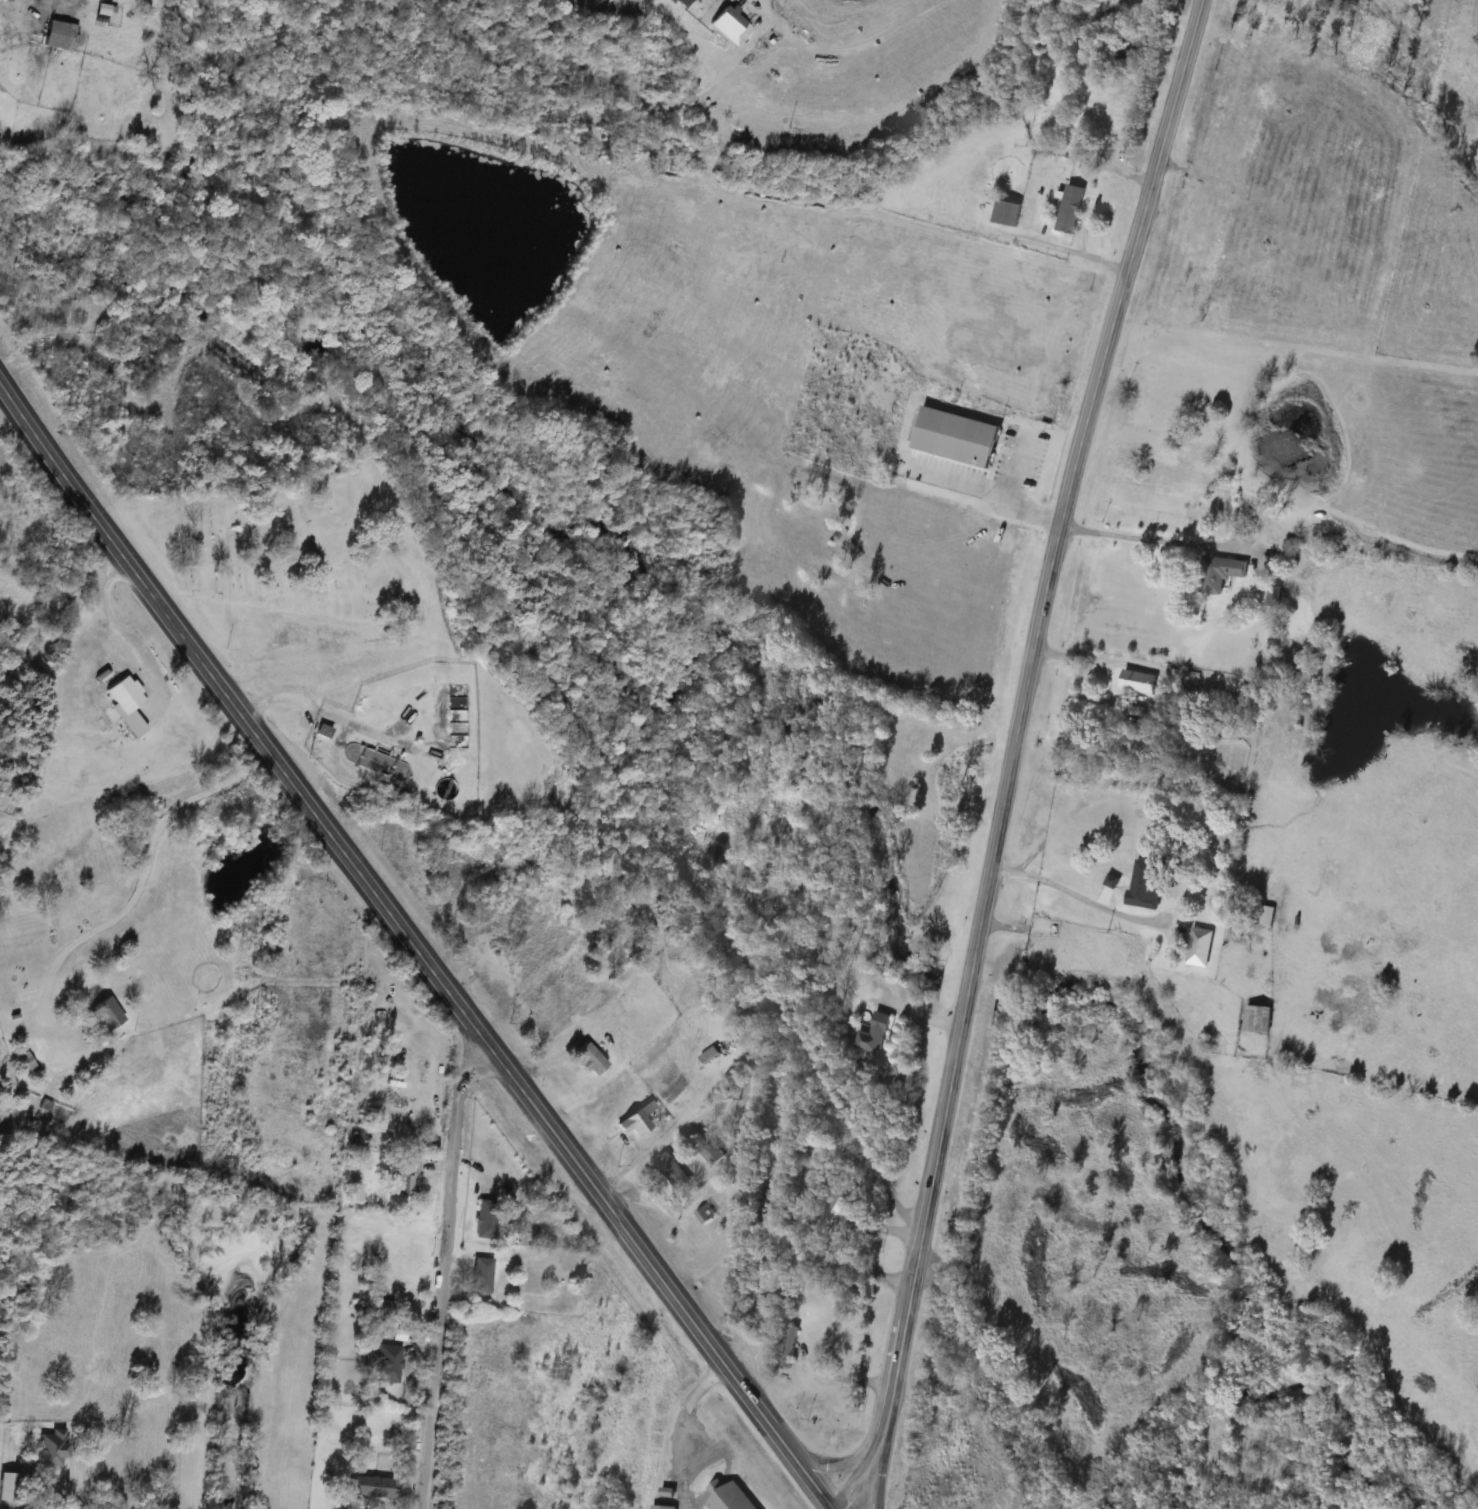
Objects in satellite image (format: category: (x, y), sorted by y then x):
building: (59, 35)
building: (1071, 210)
building: (1008, 214)
building: (1043, 228)
building: (956, 436)
road: (50, 441)
road: (1017, 469)
road: (990, 492)
road: (1133, 538)
park: (290, 558)
building: (1219, 573)
road: (116, 625)
road: (1087, 655)
building: (1183, 678)
building: (1138, 682)
building: (1247, 690)
building: (124, 694)
building: (323, 731)
road: (1015, 754)
railway: (634, 767)
road: (145, 869)
building: (1144, 885)
road: (1076, 893)
building: (1200, 947)
road: (915, 1008)
road: (468, 1010)
building: (107, 1013)
building: (1258, 1019)
building: (871, 1035)
building: (709, 1055)
building: (591, 1061)
building: (634, 1123)
building: (714, 1153)
building: (672, 1170)
building: (401, 1177)
building: (831, 1215)
building: (485, 1218)
road: (438, 1269)
building: (481, 1275)
building: (747, 1312)
building: (790, 1346)
building: (385, 1361)
building: (51, 1449)
road: (840, 1461)
road: (883, 1474)
building: (10, 1486)
building: (369, 1486)
building: (730, 1496)
building: (663, 1507)

